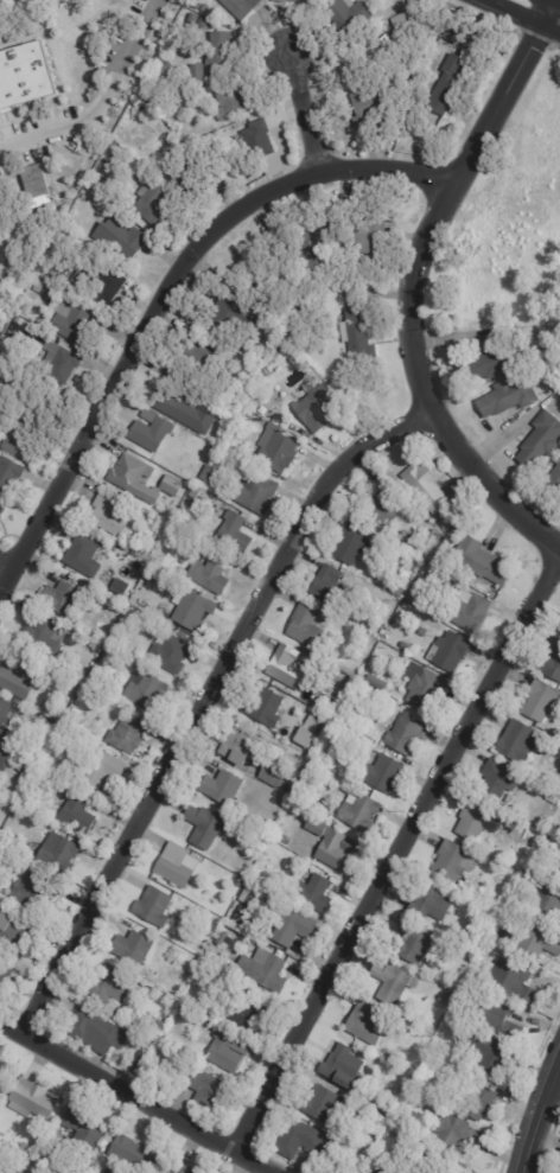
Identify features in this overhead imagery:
building: (287, 0)
building: (310, 0)
road: (559, 0)
building: (197, 5)
building: (243, 7)
building: (354, 14)
building: (197, 17)
road: (520, 17)
building: (405, 20)
building: (205, 21)
building: (458, 31)
building: (223, 55)
building: (201, 72)
building: (24, 74)
building: (451, 79)
building: (216, 97)
building: (142, 100)
building: (236, 100)
road: (100, 102)
building: (373, 108)
road: (304, 110)
building: (261, 139)
building: (55, 160)
building: (195, 174)
building: (38, 186)
building: (87, 196)
building: (157, 202)
building: (376, 229)
building: (323, 238)
building: (132, 240)
building: (373, 262)
building: (81, 278)
building: (110, 280)
building: (268, 280)
road: (409, 285)
road: (164, 292)
building: (240, 311)
building: (74, 320)
building: (358, 331)
building: (52, 337)
building: (202, 351)
building: (65, 358)
building: (490, 362)
building: (234, 368)
building: (263, 375)
building: (6, 393)
building: (504, 396)
building: (546, 400)
building: (319, 406)
building: (191, 412)
building: (241, 415)
building: (154, 429)
building: (537, 440)
building: (24, 441)
building: (198, 446)
building: (279, 448)
building: (218, 450)
building: (209, 473)
building: (11, 474)
building: (554, 477)
building: (138, 478)
building: (178, 482)
building: (431, 484)
building: (170, 485)
building: (260, 492)
building: (386, 502)
building: (2, 509)
building: (113, 515)
building: (159, 522)
building: (237, 533)
building: (441, 534)
building: (354, 542)
building: (168, 543)
building: (154, 546)
building: (87, 555)
building: (484, 561)
road: (5, 565)
building: (153, 572)
building: (214, 574)
building: (450, 580)
building: (335, 587)
building: (397, 589)
building: (64, 598)
building: (432, 605)
building: (119, 606)
building: (196, 610)
building: (472, 610)
building: (368, 616)
building: (131, 617)
building: (138, 624)
building: (310, 625)
building: (377, 625)
building: (44, 637)
building: (452, 654)
building: (173, 655)
building: (308, 663)
building: (553, 665)
building: (289, 667)
building: (83, 675)
building: (18, 677)
building: (378, 681)
building: (429, 687)
building: (148, 690)
building: (543, 700)
road: (203, 702)
building: (335, 702)
building: (267, 707)
building: (7, 716)
building: (307, 731)
building: (129, 733)
building: (408, 734)
building: (520, 741)
building: (244, 746)
building: (325, 753)
building: (553, 756)
building: (7, 757)
building: (106, 769)
building: (275, 773)
building: (387, 773)
building: (23, 779)
building: (498, 779)
building: (225, 788)
building: (291, 789)
building: (32, 792)
building: (300, 797)
building: (554, 798)
building: (287, 802)
building: (81, 812)
building: (363, 812)
building: (235, 814)
building: (482, 821)
building: (206, 825)
building: (348, 825)
building: (21, 831)
building: (17, 842)
building: (333, 846)
road: (396, 852)
building: (61, 853)
building: (457, 861)
building: (178, 865)
building: (559, 876)
building: (243, 882)
building: (254, 887)
building: (34, 891)
building: (317, 893)
building: (255, 900)
building: (549, 900)
building: (433, 904)
building: (157, 906)
building: (242, 913)
building: (295, 925)
building: (14, 930)
building: (478, 935)
building: (539, 938)
building: (222, 941)
building: (415, 946)
building: (136, 949)
building: (268, 970)
building: (6, 973)
building: (517, 982)
building: (395, 983)
building: (114, 986)
building: (252, 1009)
building: (122, 1014)
building: (496, 1015)
building: (367, 1025)
building: (157, 1026)
building: (101, 1032)
building: (149, 1048)
building: (228, 1048)
building: (490, 1052)
building: (345, 1063)
building: (141, 1064)
building: (153, 1070)
building: (4, 1078)
building: (351, 1083)
road: (555, 1083)
building: (206, 1086)
building: (476, 1092)
road: (136, 1097)
building: (37, 1101)
building: (325, 1104)
road: (537, 1117)
building: (85, 1130)
building: (456, 1131)
building: (374, 1135)
building: (307, 1145)
building: (365, 1146)
building: (31, 1149)
building: (136, 1154)
building: (51, 1164)
building: (452, 1164)
building: (0, 1166)
building: (178, 1169)
building: (382, 1169)
building: (1, 1171)
building: (45, 1171)
building: (52, 1172)
building: (108, 1172)

